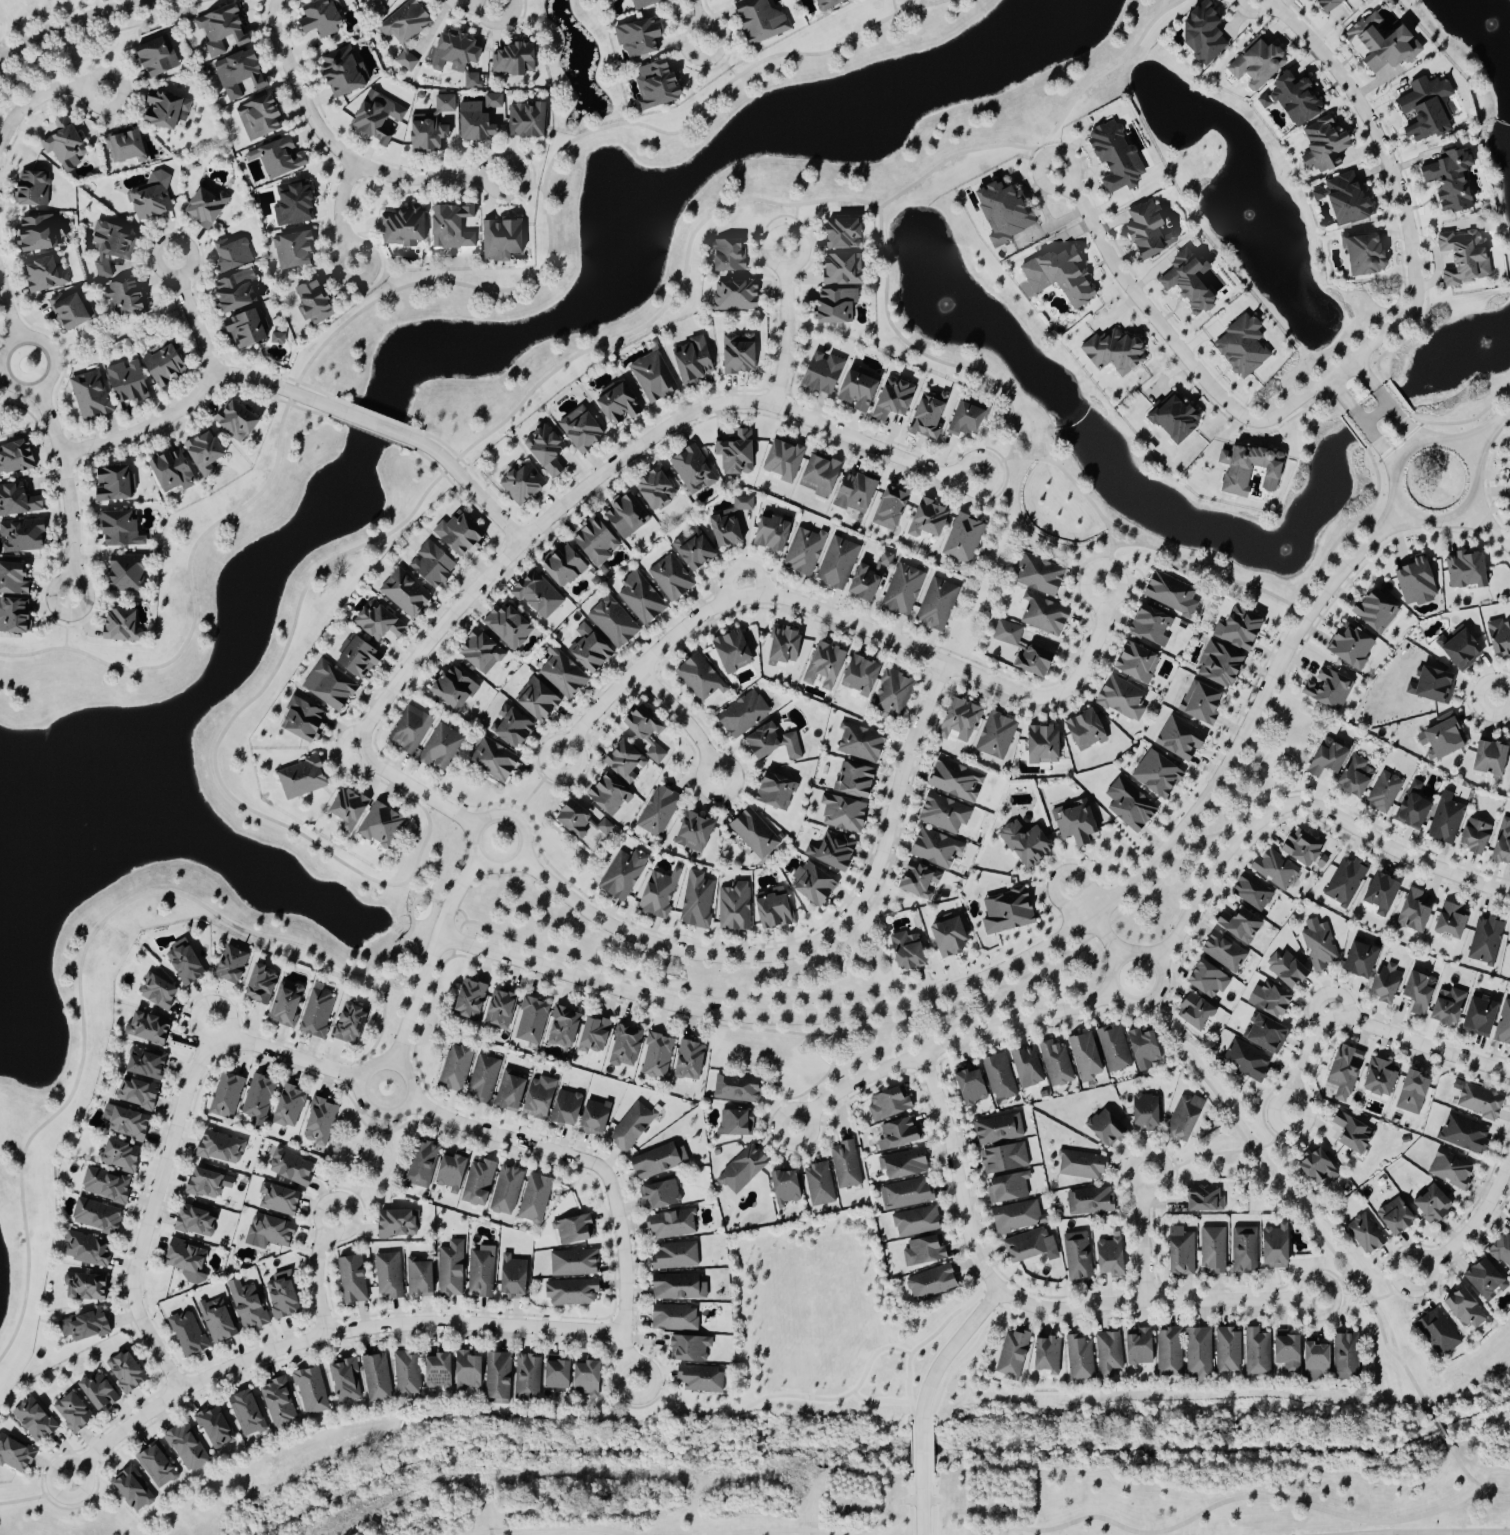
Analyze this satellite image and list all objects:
building: (373, 0)
building: (645, 3)
building: (828, 3)
road: (475, 4)
building: (1331, 4)
road: (893, 6)
building: (322, 17)
building: (763, 20)
road: (698, 22)
road: (73, 23)
building: (223, 30)
building: (406, 30)
building: (1207, 34)
building: (640, 37)
building: (1384, 43)
building: (457, 52)
building: (158, 57)
road: (721, 58)
building: (516, 59)
building: (1259, 62)
building: (342, 72)
building: (240, 73)
building: (472, 80)
building: (659, 85)
road: (41, 96)
building: (1296, 98)
building: (445, 103)
building: (494, 107)
building: (1429, 107)
building: (166, 109)
building: (260, 117)
building: (379, 117)
building: (528, 119)
building: (477, 123)
building: (429, 132)
building: (66, 144)
building: (1327, 145)
building: (127, 147)
road: (341, 152)
building: (1117, 156)
building: (279, 158)
road: (1393, 171)
building: (1453, 178)
road: (524, 182)
building: (33, 188)
building: (151, 198)
building: (1348, 198)
building: (295, 204)
building: (209, 205)
building: (1007, 210)
road: (342, 215)
building: (405, 227)
building: (454, 227)
building: (1152, 229)
building: (38, 233)
building: (846, 233)
building: (503, 239)
building: (113, 246)
building: (294, 250)
building: (1368, 253)
building: (232, 254)
building: (731, 255)
building: (1467, 257)
building: (845, 269)
building: (46, 275)
road: (376, 275)
building: (1063, 275)
building: (1191, 280)
road: (431, 281)
building: (237, 291)
building: (737, 295)
building: (125, 297)
building: (314, 302)
building: (837, 305)
road: (8, 310)
building: (70, 310)
road: (787, 328)
building: (247, 329)
building: (277, 338)
road: (911, 345)
building: (1244, 346)
building: (1117, 351)
road: (2, 353)
road: (1184, 353)
building: (740, 354)
building: (695, 360)
building: (166, 364)
road: (1, 373)
building: (823, 374)
road: (1366, 374)
building: (654, 378)
building: (129, 382)
road: (271, 384)
building: (860, 391)
road: (1340, 393)
building: (91, 395)
road: (199, 397)
building: (895, 400)
building: (620, 404)
road: (1389, 405)
road: (516, 406)
building: (931, 416)
building: (1176, 416)
building: (969, 419)
building: (238, 420)
road: (373, 424)
road: (1363, 425)
building: (582, 429)
road: (1412, 432)
road: (1488, 433)
road: (1022, 444)
road: (1011, 445)
building: (547, 450)
building: (206, 452)
building: (738, 453)
road: (1387, 453)
building: (17, 457)
building: (786, 460)
road: (618, 463)
building: (1251, 469)
building: (694, 470)
building: (174, 471)
building: (822, 476)
road: (1395, 479)
road: (1074, 483)
building: (115, 484)
building: (523, 484)
building: (658, 489)
road: (70, 490)
road: (472, 490)
building: (858, 493)
building: (18, 501)
building: (893, 508)
building: (628, 515)
building: (930, 519)
building: (733, 523)
road: (1489, 525)
building: (122, 529)
building: (774, 533)
building: (461, 534)
building: (23, 536)
building: (965, 539)
building: (597, 541)
road: (1126, 543)
building: (694, 550)
building: (804, 551)
building: (886, 559)
building: (837, 563)
building: (433, 565)
building: (565, 566)
road: (1205, 571)
building: (1468, 571)
building: (128, 573)
building: (1041, 575)
building: (14, 578)
building: (670, 579)
building: (1419, 582)
building: (867, 584)
building: (903, 590)
building: (405, 593)
building: (1172, 594)
building: (538, 595)
building: (641, 599)
building: (937, 604)
building: (1377, 611)
building: (1045, 615)
building: (15, 617)
building: (379, 622)
building: (614, 622)
road: (847, 622)
road: (66, 623)
building: (1151, 625)
building: (123, 626)
building: (510, 626)
building: (1242, 629)
building: (1008, 633)
building: (1501, 638)
building: (786, 644)
building: (1353, 646)
building: (1462, 647)
building: (591, 650)
building: (738, 650)
building: (482, 652)
building: (360, 657)
building: (1039, 661)
road: (1303, 661)
building: (1138, 662)
building: (826, 665)
building: (1223, 665)
building: (863, 675)
building: (563, 676)
building: (700, 678)
building: (331, 686)
building: (1434, 686)
building: (454, 688)
building: (1330, 689)
building: (894, 693)
building: (1123, 699)
building: (538, 700)
road: (1503, 700)
building: (1203, 702)
building: (744, 714)
building: (305, 720)
road: (687, 720)
building: (962, 720)
building: (514, 728)
building: (411, 729)
building: (1087, 729)
building: (648, 732)
building: (997, 735)
building: (1182, 739)
building: (1445, 739)
building: (775, 743)
building: (862, 743)
building: (1046, 745)
building: (442, 747)
building: (1493, 758)
building: (627, 759)
building: (495, 760)
building: (1330, 760)
building: (1158, 774)
building: (1357, 777)
building: (303, 778)
building: (957, 780)
building: (857, 781)
road: (535, 787)
road: (1320, 787)
road: (415, 788)
road: (388, 789)
building: (776, 791)
building: (1384, 792)
building: (610, 795)
road: (1304, 804)
building: (1130, 806)
road: (1254, 807)
building: (1416, 807)
building: (350, 810)
building: (659, 811)
building: (844, 813)
building: (945, 814)
building: (582, 819)
building: (1447, 819)
building: (1076, 823)
building: (383, 826)
building: (695, 833)
building: (755, 834)
building: (1478, 837)
road: (475, 841)
building: (1027, 843)
building: (1504, 844)
building: (937, 849)
building: (1306, 849)
building: (835, 851)
road: (894, 860)
building: (1276, 870)
building: (623, 874)
building: (921, 880)
building: (1347, 882)
building: (815, 884)
building: (1253, 892)
building: (660, 894)
building: (1385, 894)
building: (697, 900)
road: (446, 902)
building: (735, 907)
building: (776, 909)
building: (1010, 911)
building: (1416, 911)
building: (1455, 921)
road: (1096, 923)
building: (1243, 925)
building: (952, 938)
building: (1487, 940)
building: (1320, 944)
road: (811, 945)
building: (909, 951)
building: (1225, 952)
road: (1059, 954)
road: (433, 958)
building: (1363, 960)
road: (1023, 961)
building: (186, 963)
building: (233, 965)
building: (1288, 970)
road: (392, 972)
building: (1210, 980)
road: (923, 982)
building: (1388, 984)
building: (262, 985)
road: (678, 989)
road: (79, 990)
road: (833, 990)
building: (159, 992)
building: (1421, 994)
building: (1272, 1000)
building: (471, 1001)
road: (1135, 1003)
building: (287, 1004)
road: (206, 1006)
building: (1451, 1007)
building: (501, 1009)
building: (318, 1012)
building: (1197, 1012)
building: (1482, 1018)
building: (532, 1021)
road: (689, 1022)
building: (351, 1024)
building: (1504, 1025)
building: (565, 1028)
building: (149, 1029)
building: (1266, 1033)
road: (948, 1044)
road: (1419, 1044)
building: (627, 1046)
building: (1146, 1046)
building: (1100, 1053)
building: (657, 1056)
road: (292, 1057)
road: (1303, 1060)
building: (691, 1061)
building: (1247, 1061)
building: (147, 1064)
building: (1057, 1064)
building: (456, 1067)
building: (1027, 1068)
building: (1346, 1072)
building: (1000, 1077)
building: (483, 1078)
building: (1382, 1078)
building: (972, 1085)
building: (738, 1089)
building: (511, 1091)
building: (1415, 1093)
building: (139, 1094)
building: (226, 1096)
road: (362, 1096)
building: (541, 1097)
building: (258, 1100)
building: (1482, 1102)
building: (890, 1105)
building: (289, 1107)
building: (568, 1109)
road: (778, 1109)
building: (1148, 1113)
building: (595, 1119)
building: (1186, 1119)
building: (126, 1121)
building: (320, 1122)
building: (735, 1124)
building: (631, 1127)
building: (999, 1129)
building: (1108, 1129)
building: (900, 1134)
building: (1355, 1135)
building: (1465, 1135)
building: (221, 1147)
road: (1225, 1151)
building: (122, 1155)
building: (1005, 1159)
building: (659, 1161)
building: (905, 1164)
building: (423, 1165)
building: (846, 1165)
building: (1082, 1166)
building: (292, 1167)
building: (1319, 1168)
building: (1452, 1168)
building: (743, 1170)
building: (453, 1173)
road: (606, 1174)
building: (209, 1182)
building: (479, 1183)
building: (107, 1185)
building: (819, 1185)
building: (787, 1188)
building: (1009, 1188)
building: (507, 1190)
building: (906, 1194)
building: (661, 1195)
building: (536, 1198)
building: (279, 1199)
building: (1207, 1199)
road: (1294, 1199)
building: (1091, 1201)
building: (1434, 1205)
building: (98, 1215)
road: (151, 1217)
building: (1018, 1217)
building: (1398, 1217)
building: (197, 1221)
building: (916, 1222)
building: (398, 1223)
building: (672, 1225)
road: (1472, 1229)
building: (270, 1231)
building: (573, 1231)
building: (1367, 1233)
road: (1144, 1238)
building: (1030, 1246)
building: (1278, 1247)
building: (87, 1248)
building: (1214, 1249)
building: (1245, 1249)
building: (1502, 1249)
building: (1184, 1251)
building: (925, 1252)
building: (676, 1256)
building: (1078, 1256)
building: (188, 1261)
building: (574, 1263)
building: (451, 1268)
building: (482, 1271)
building: (389, 1274)
road: (316, 1275)
building: (421, 1277)
building: (515, 1277)
building: (353, 1278)
building: (932, 1281)
road: (1332, 1283)
building: (87, 1286)
building: (679, 1287)
road: (1392, 1291)
building: (572, 1292)
building: (284, 1294)
building: (248, 1304)
road: (1031, 1307)
building: (1467, 1310)
building: (675, 1317)
building: (218, 1319)
building: (85, 1325)
building: (1438, 1332)
building: (188, 1333)
road: (326, 1335)
building: (1141, 1346)
building: (690, 1347)
road: (954, 1348)
building: (1229, 1350)
building: (1170, 1351)
building: (1258, 1351)
building: (1291, 1351)
building: (1014, 1352)
building: (1200, 1352)
building: (1109, 1353)
building: (1049, 1354)
building: (1347, 1356)
building: (1081, 1357)
building: (1320, 1360)
building: (469, 1370)
building: (127, 1371)
building: (440, 1371)
building: (559, 1372)
building: (407, 1373)
building: (528, 1375)
building: (377, 1377)
building: (499, 1377)
building: (702, 1378)
building: (345, 1379)
building: (588, 1379)
building: (100, 1391)
building: (311, 1391)
building: (279, 1403)
building: (74, 1411)
building: (248, 1413)
building: (35, 1418)
road: (1438, 1426)
building: (215, 1427)
road: (921, 1445)
building: (187, 1447)
building: (15, 1454)
building: (157, 1465)
road: (1472, 1478)
building: (132, 1489)
road: (1234, 1497)
road: (23, 1501)
road: (921, 1505)
road: (811, 1532)
road: (658, 1534)
road: (1432, 1534)
road: (1460, 1534)

